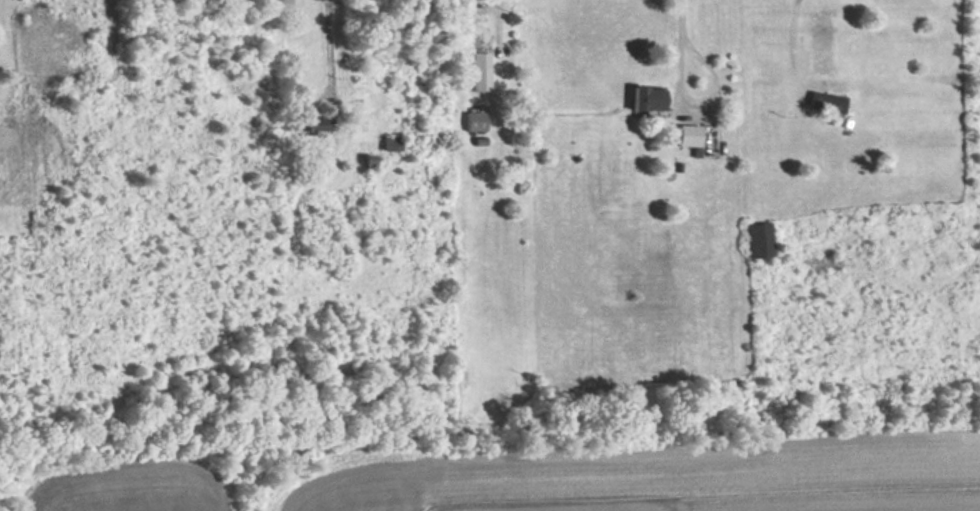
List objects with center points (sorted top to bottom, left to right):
road: (683, 15)
road: (329, 46)
building: (475, 71)
building: (642, 98)
building: (821, 101)
road: (703, 110)
building: (308, 123)
building: (684, 136)
building: (387, 143)
building: (755, 239)

